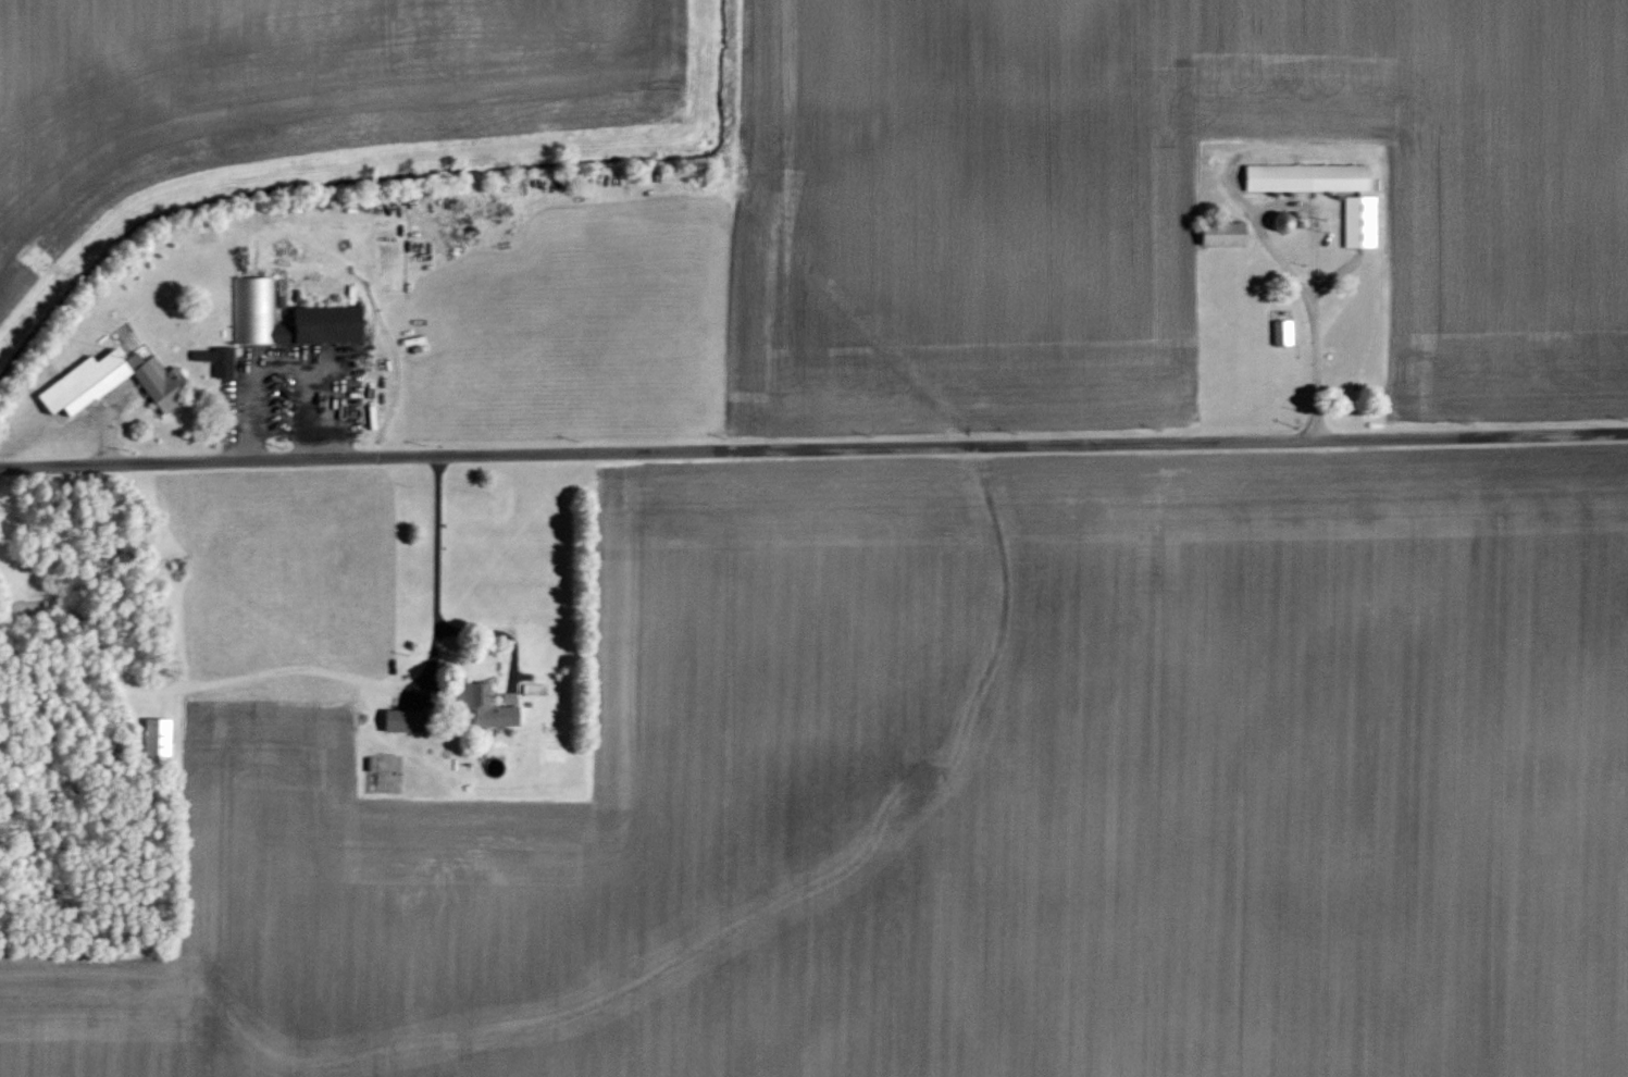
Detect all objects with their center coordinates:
building: (1304, 177)
building: (1357, 222)
building: (1219, 235)
building: (323, 313)
building: (1280, 333)
building: (216, 358)
road: (278, 362)
building: (109, 381)
road: (813, 453)
road: (435, 543)
building: (477, 705)
building: (395, 719)
building: (154, 736)

